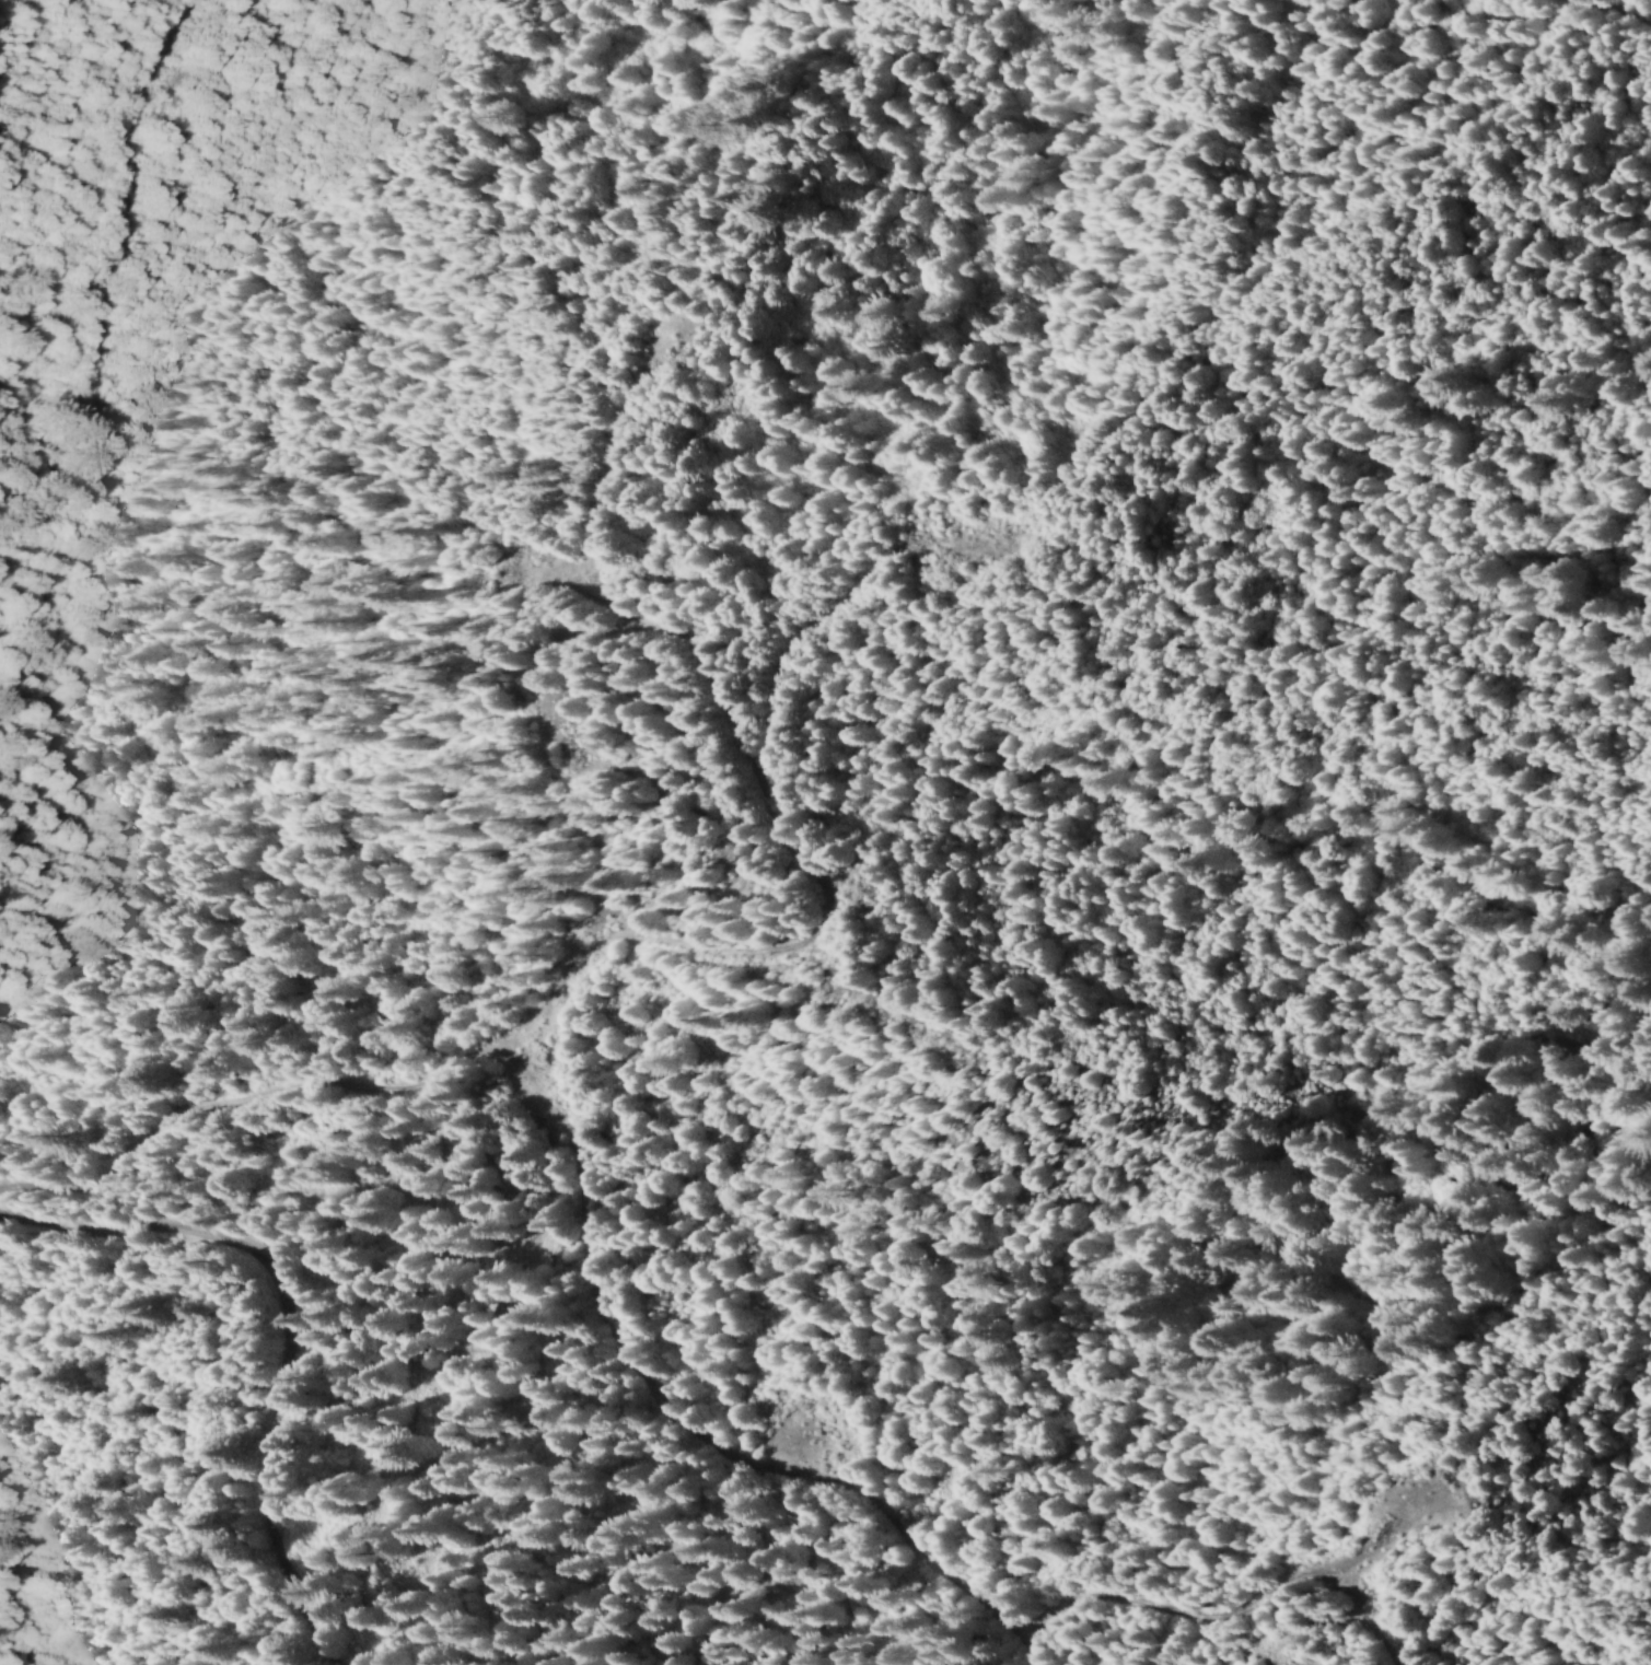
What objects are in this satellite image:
road: (275, 1330)

